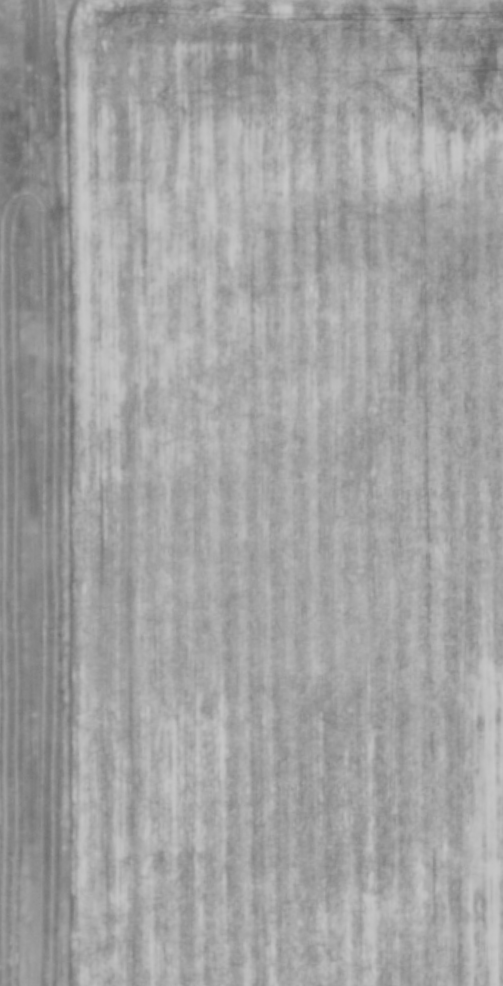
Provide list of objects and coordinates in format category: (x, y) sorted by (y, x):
road: (43, 493)

